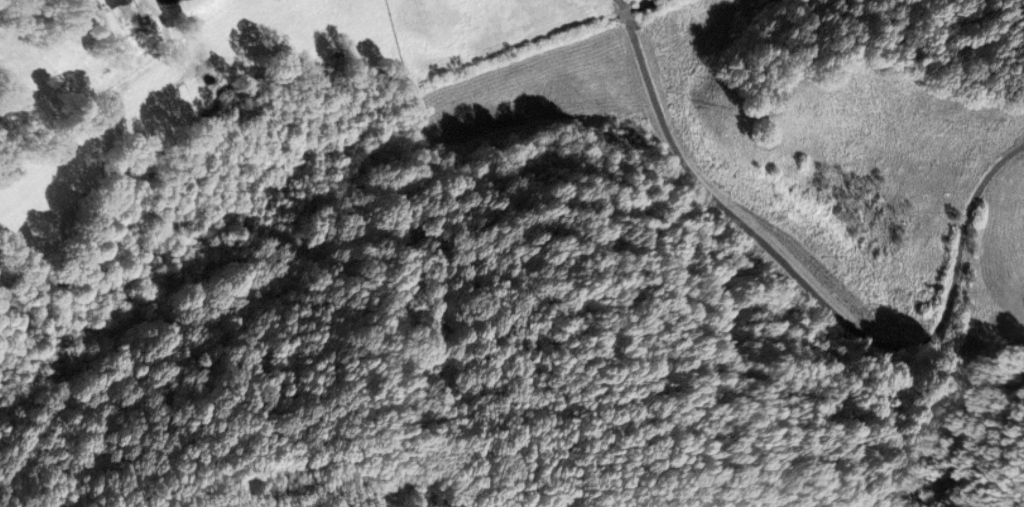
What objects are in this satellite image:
road: (62, 156)

